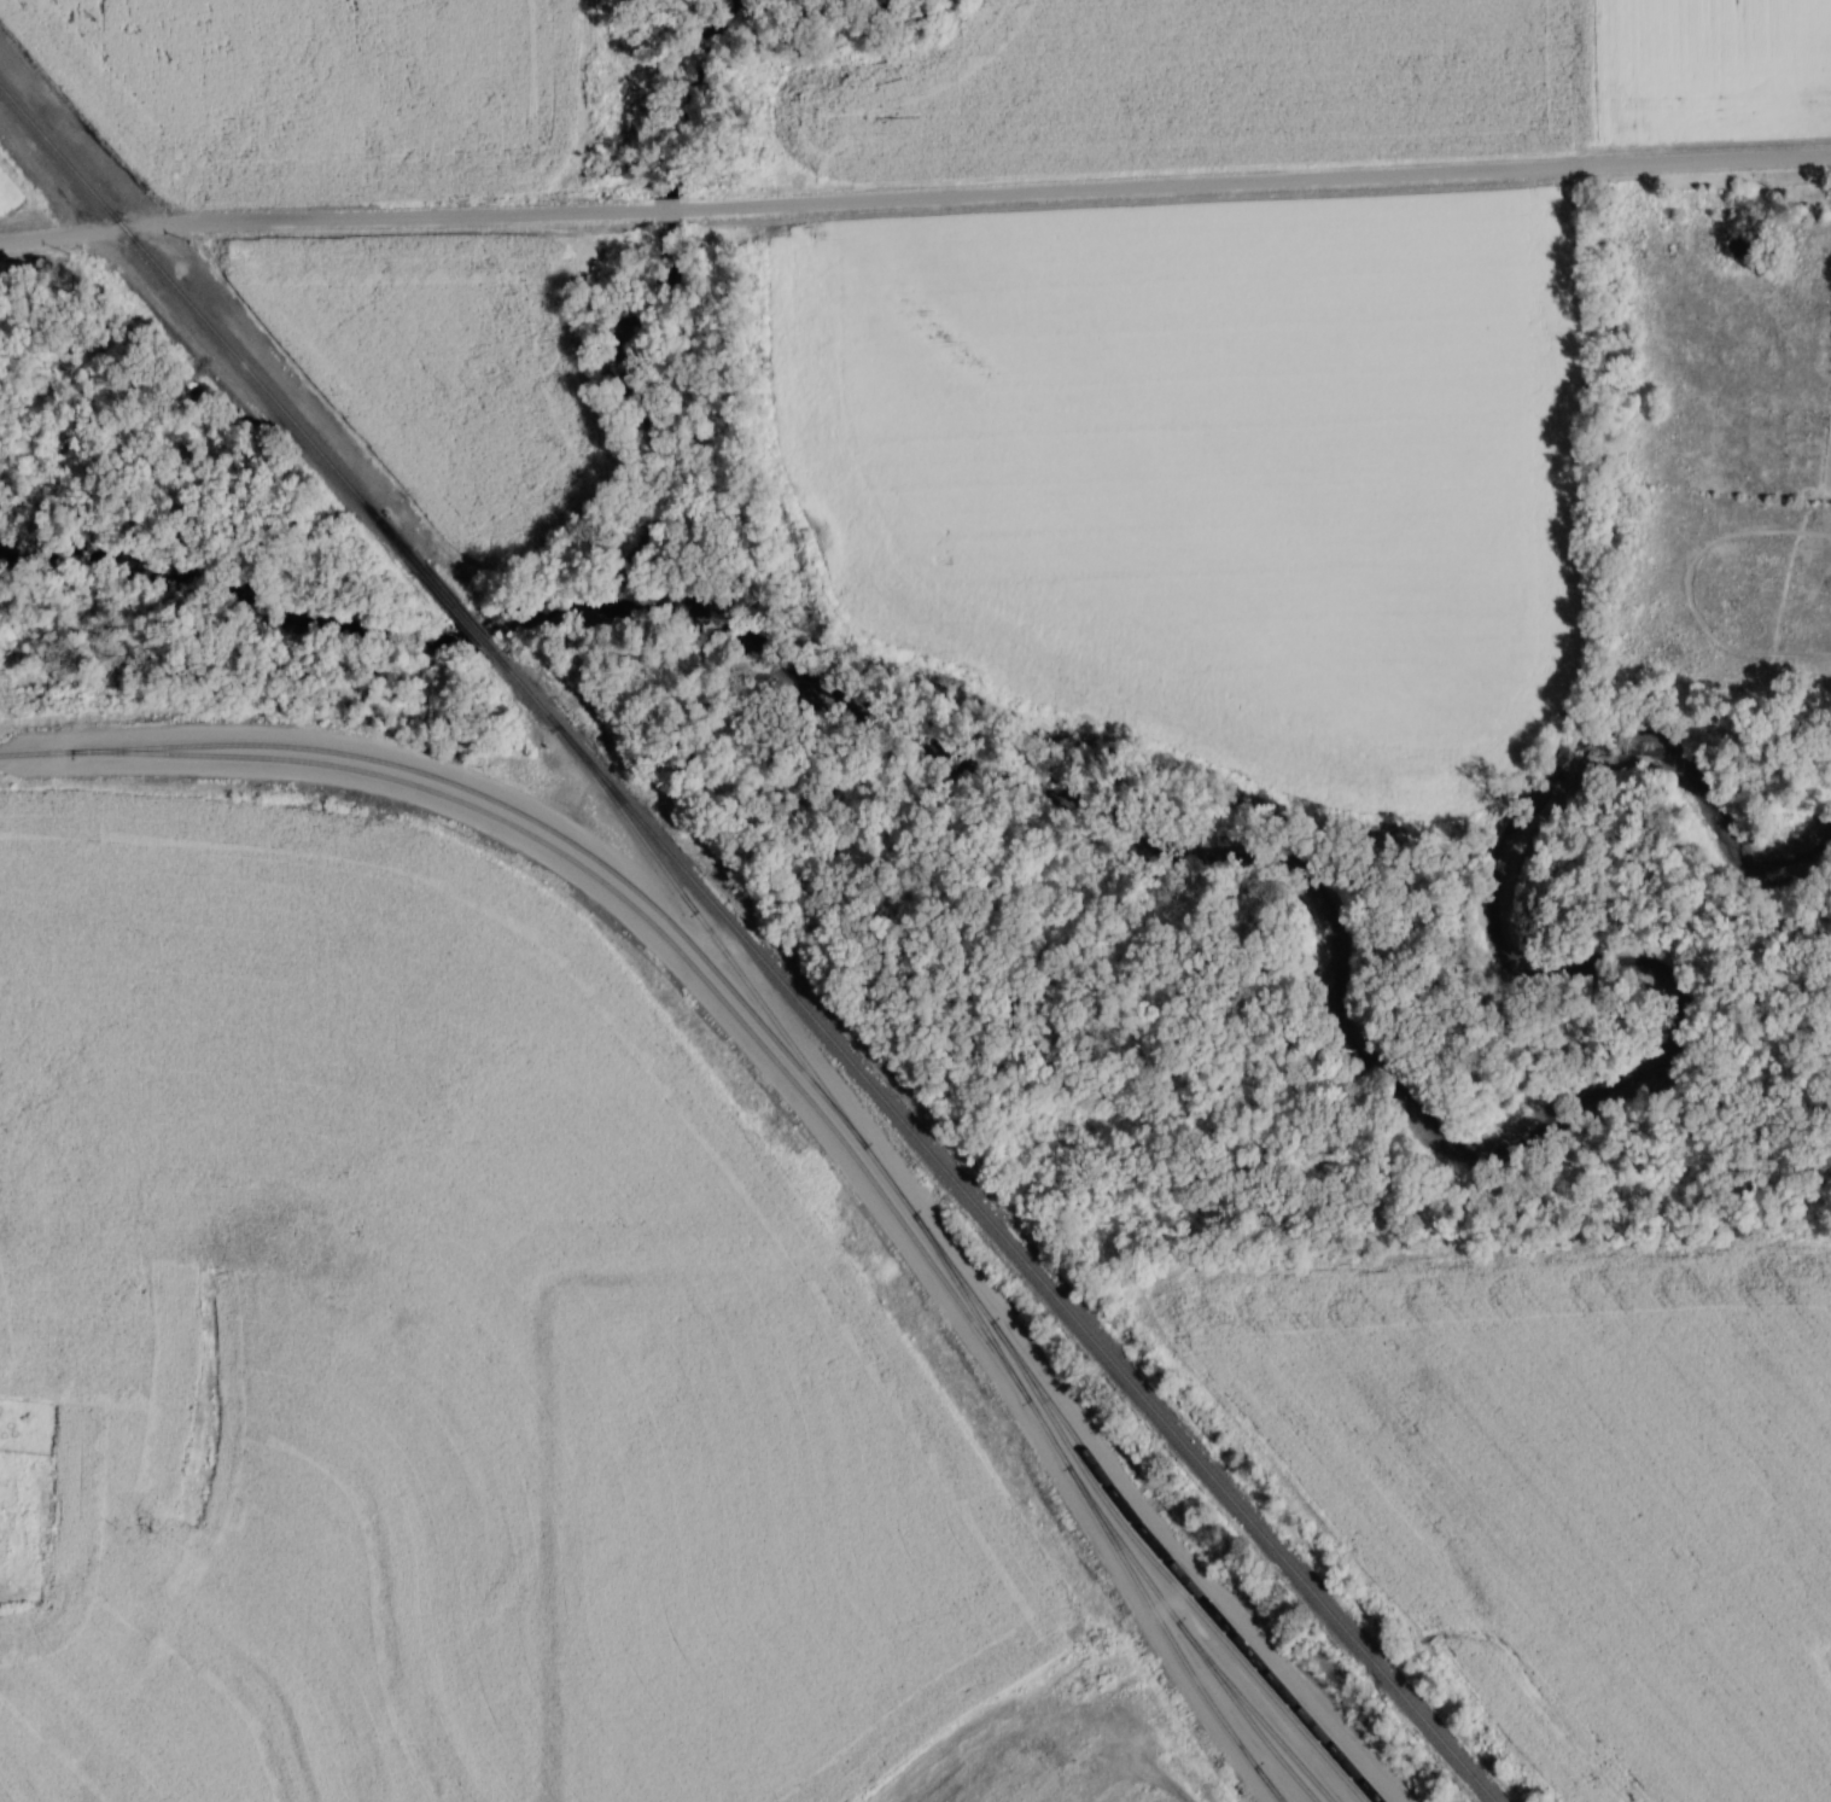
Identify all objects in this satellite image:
crop: (2, 189)
road: (915, 204)
railway: (214, 330)
railway: (457, 606)
railway: (989, 1223)

